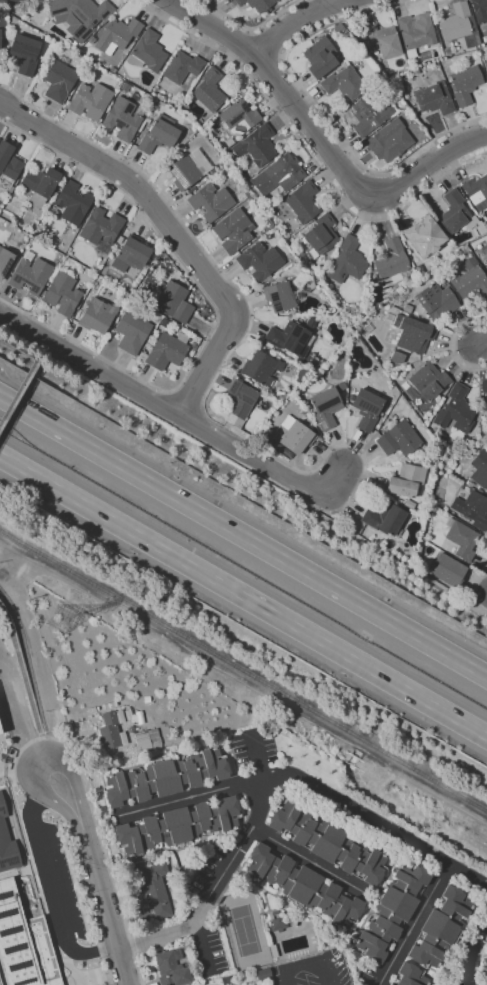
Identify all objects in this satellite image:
building: (9, 1)
building: (256, 4)
building: (480, 12)
building: (79, 16)
road: (297, 21)
road: (247, 27)
building: (460, 27)
building: (416, 32)
building: (117, 35)
building: (0, 36)
building: (383, 40)
road: (270, 43)
road: (245, 47)
building: (148, 52)
building: (25, 53)
building: (321, 58)
road: (267, 65)
building: (182, 67)
building: (58, 80)
building: (344, 83)
road: (280, 84)
building: (465, 84)
building: (209, 90)
building: (435, 99)
building: (90, 101)
road: (321, 112)
building: (369, 115)
building: (239, 117)
building: (122, 119)
building: (159, 136)
building: (389, 141)
building: (256, 145)
road: (309, 149)
building: (8, 168)
building: (188, 170)
road: (424, 171)
building: (283, 173)
building: (41, 182)
building: (477, 191)
building: (72, 202)
building: (211, 202)
building: (301, 202)
building: (458, 214)
building: (101, 227)
building: (233, 231)
road: (173, 232)
building: (418, 235)
building: (320, 236)
building: (131, 252)
building: (391, 259)
building: (485, 260)
building: (4, 261)
building: (260, 261)
building: (347, 261)
building: (31, 273)
building: (470, 282)
building: (63, 294)
building: (280, 295)
building: (437, 300)
building: (174, 303)
road: (212, 314)
building: (96, 316)
building: (132, 332)
building: (413, 334)
building: (290, 340)
road: (454, 345)
road: (481, 346)
building: (168, 350)
building: (396, 358)
road: (89, 364)
building: (260, 369)
road: (28, 372)
building: (303, 374)
building: (428, 381)
building: (241, 399)
road: (189, 401)
building: (485, 401)
building: (455, 408)
building: (324, 409)
building: (367, 409)
building: (294, 435)
building: (399, 439)
road: (277, 459)
road: (267, 467)
building: (480, 469)
building: (406, 481)
building: (472, 508)
building: (383, 516)
road: (243, 537)
building: (462, 541)
road: (390, 557)
road: (13, 562)
building: (450, 572)
road: (476, 592)
road: (243, 597)
power tower: (56, 623)
road: (28, 637)
road: (20, 668)
railway: (243, 670)
road: (243, 682)
building: (0, 729)
building: (111, 729)
road: (19, 731)
road: (40, 733)
building: (0, 734)
road: (47, 737)
road: (53, 744)
building: (164, 777)
road: (188, 796)
building: (178, 825)
road: (378, 833)
road: (248, 834)
building: (327, 842)
building: (7, 843)
road: (103, 855)
road: (310, 857)
road: (32, 866)
road: (81, 878)
parking lot: (65, 879)
road: (99, 880)
building: (301, 883)
road: (48, 886)
building: (153, 889)
building: (392, 910)
building: (276, 923)
road: (411, 927)
building: (440, 927)
road: (159, 934)
road: (92, 937)
road: (71, 940)
building: (24, 942)
road: (101, 949)
road: (471, 960)
building: (485, 963)
road: (295, 965)
building: (171, 968)
road: (108, 970)
road: (325, 973)
building: (410, 975)
road: (95, 979)
building: (0, 981)
building: (388, 984)

